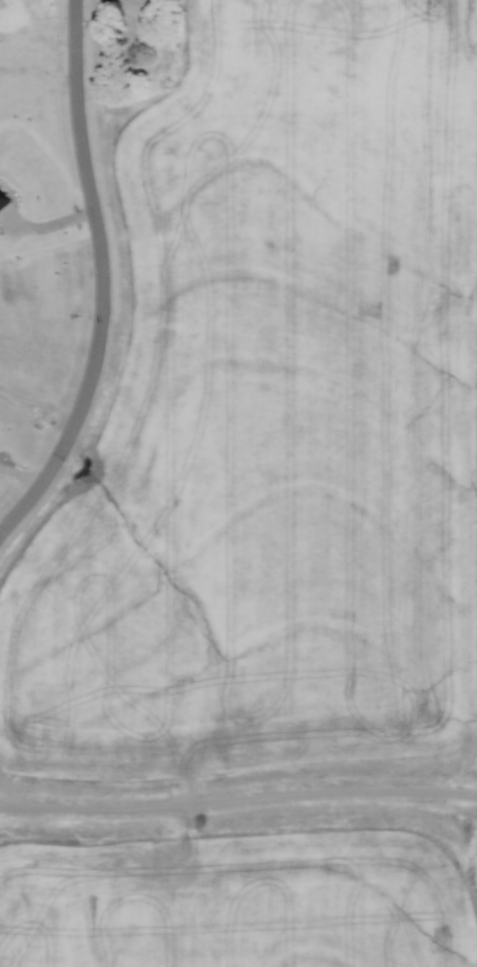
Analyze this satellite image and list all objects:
park: (38, 42)
road: (76, 42)
road: (98, 320)
road: (238, 797)

